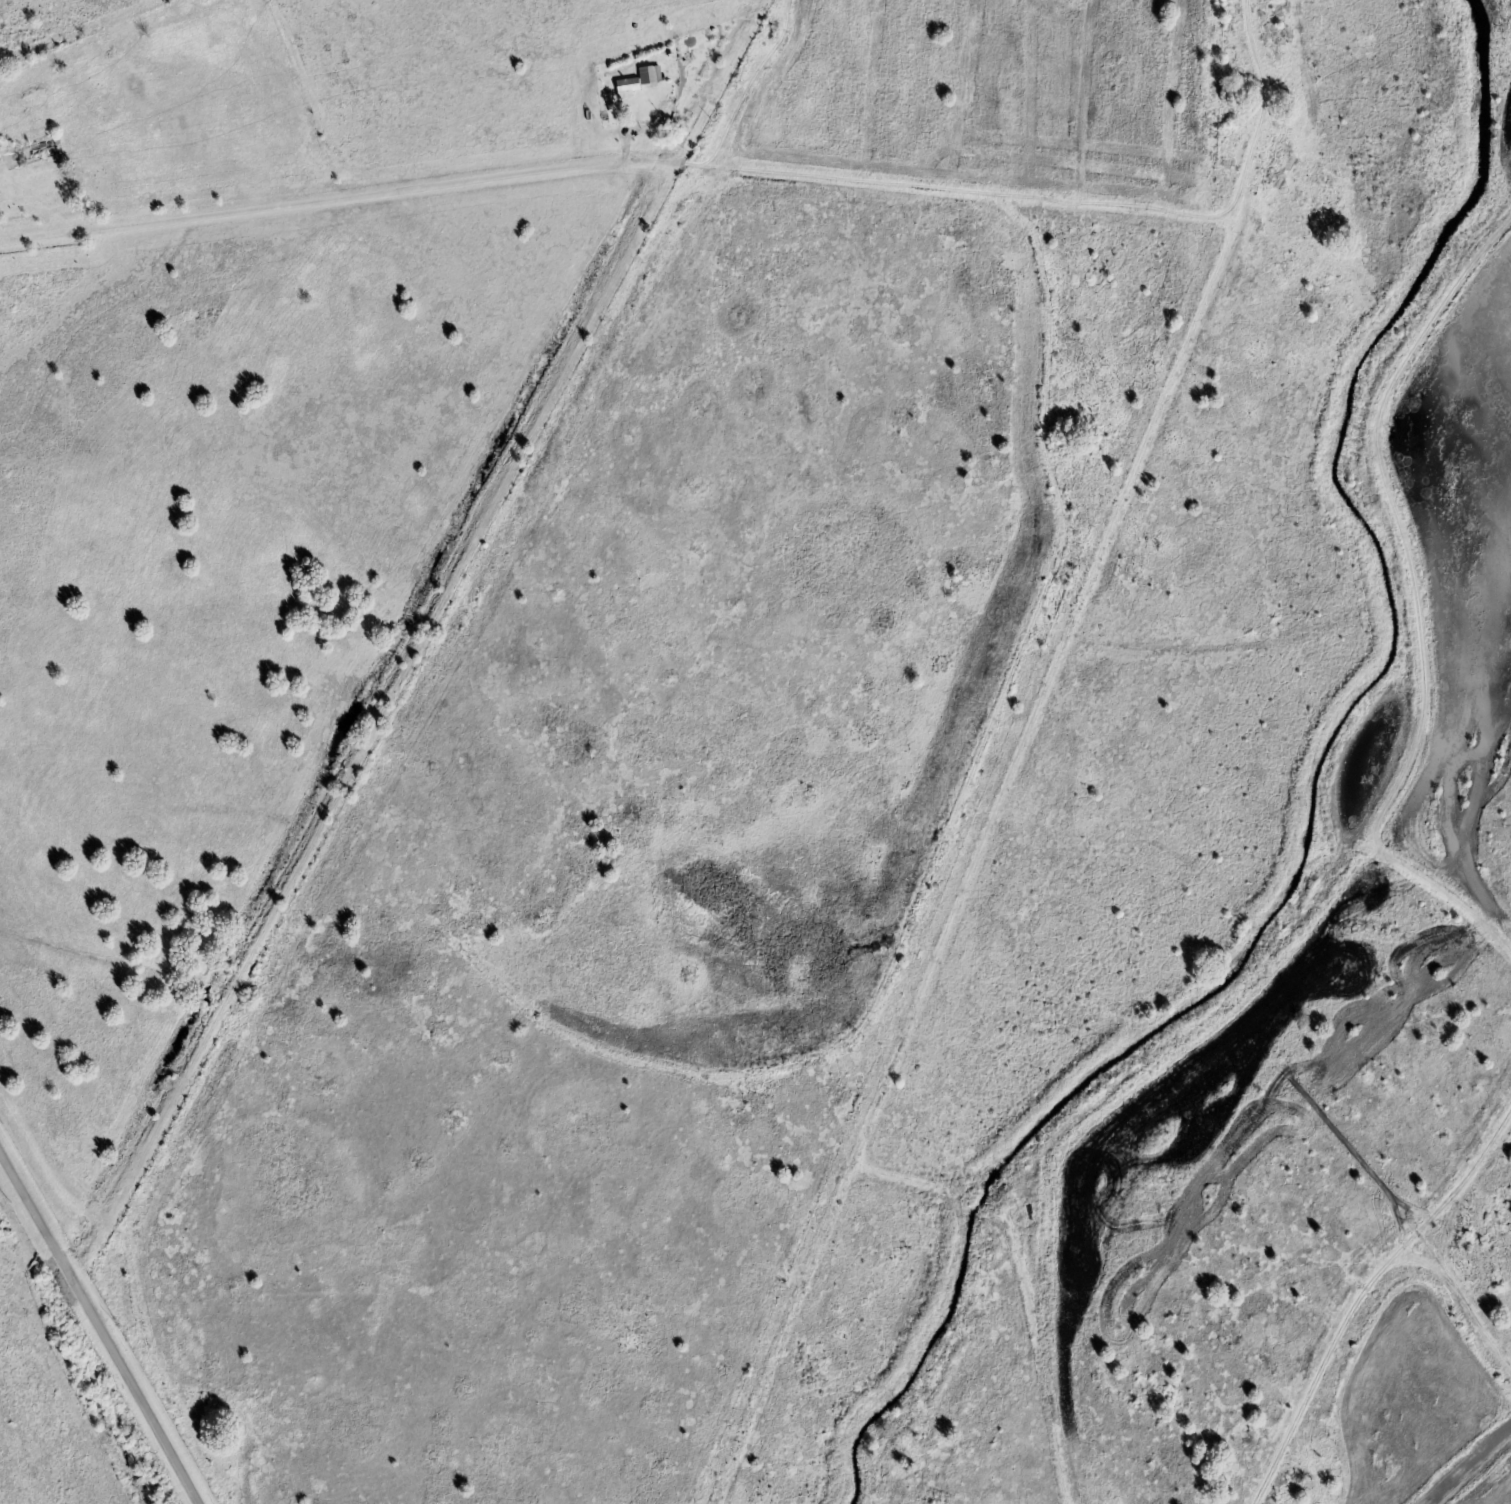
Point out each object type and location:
building: (639, 82)
road: (381, 190)
road: (438, 609)
road: (1455, 1190)
road: (1358, 1302)
road: (100, 1325)

